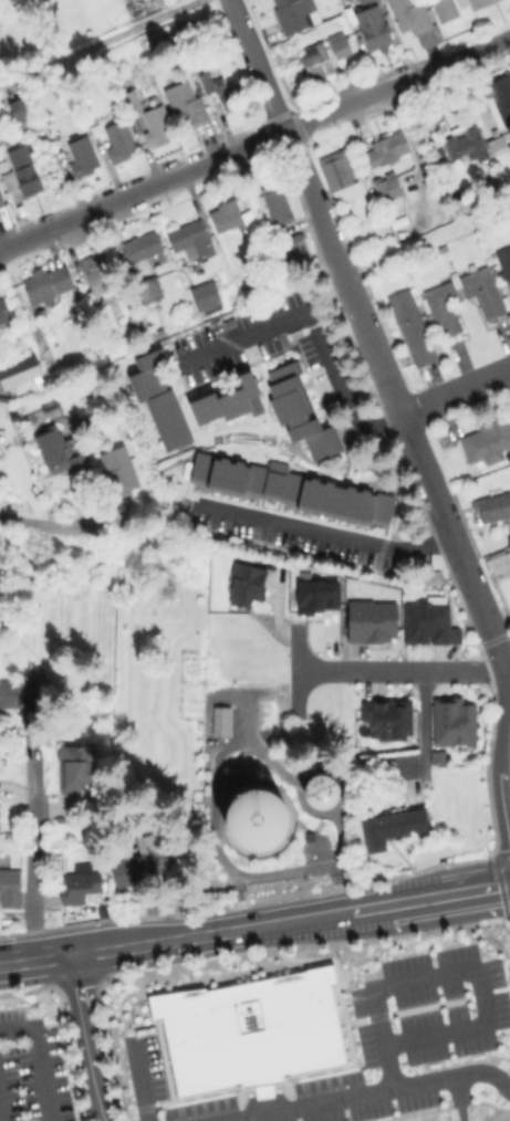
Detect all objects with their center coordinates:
building: (1, 0)
building: (364, 1)
building: (481, 3)
building: (445, 11)
building: (295, 17)
building: (410, 18)
building: (374, 29)
road: (105, 41)
building: (339, 48)
road: (257, 66)
building: (315, 66)
building: (219, 93)
building: (500, 99)
building: (132, 101)
building: (186, 102)
building: (21, 111)
building: (159, 125)
building: (121, 143)
building: (497, 143)
building: (465, 144)
road: (256, 145)
building: (508, 147)
building: (392, 148)
building: (508, 151)
building: (80, 158)
building: (22, 171)
building: (336, 174)
building: (388, 187)
building: (2, 199)
building: (278, 205)
road: (314, 206)
building: (235, 219)
building: (192, 238)
road: (427, 242)
building: (144, 247)
building: (102, 263)
building: (502, 263)
building: (508, 283)
building: (49, 285)
building: (149, 290)
building: (482, 292)
building: (206, 294)
building: (444, 308)
building: (4, 313)
building: (137, 324)
road: (312, 327)
building: (413, 328)
building: (158, 332)
building: (18, 369)
road: (455, 391)
building: (162, 399)
building: (223, 401)
building: (302, 419)
building: (489, 441)
building: (61, 452)
building: (201, 468)
building: (116, 471)
building: (231, 474)
road: (427, 478)
building: (275, 482)
building: (337, 501)
building: (385, 507)
building: (493, 507)
road: (41, 524)
road: (323, 531)
road: (485, 543)
building: (497, 560)
building: (242, 584)
building: (313, 593)
building: (374, 621)
building: (433, 625)
road: (403, 670)
building: (22, 690)
building: (389, 720)
building: (223, 722)
road: (420, 722)
building: (458, 724)
building: (441, 758)
building: (74, 767)
road: (503, 769)
building: (320, 790)
water tower: (319, 792)
building: (0, 814)
building: (256, 819)
water tower: (271, 820)
building: (392, 827)
road: (34, 860)
building: (144, 861)
building: (12, 887)
building: (77, 887)
road: (254, 928)
road: (457, 971)
building: (253, 1030)
road: (89, 1038)
road: (37, 1058)
parking lot: (33, 1066)
road: (370, 1092)

